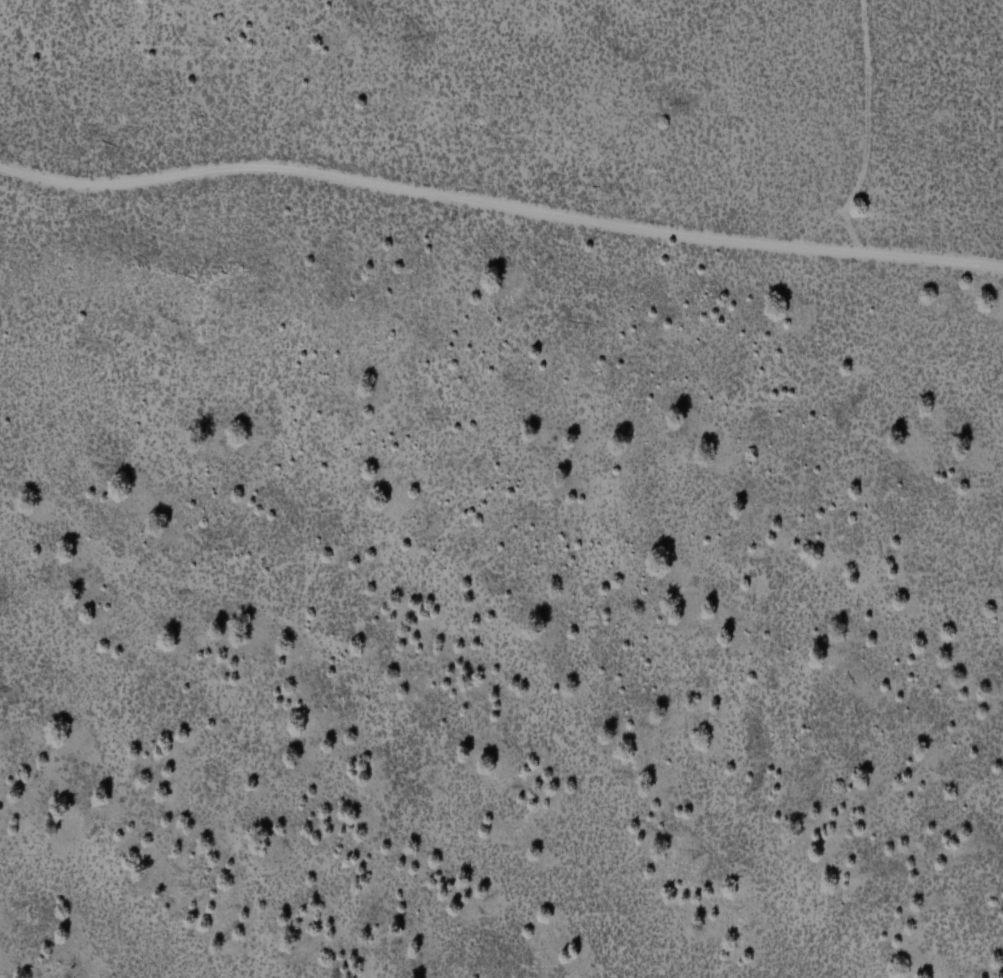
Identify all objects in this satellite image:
road: (872, 131)
road: (500, 212)

